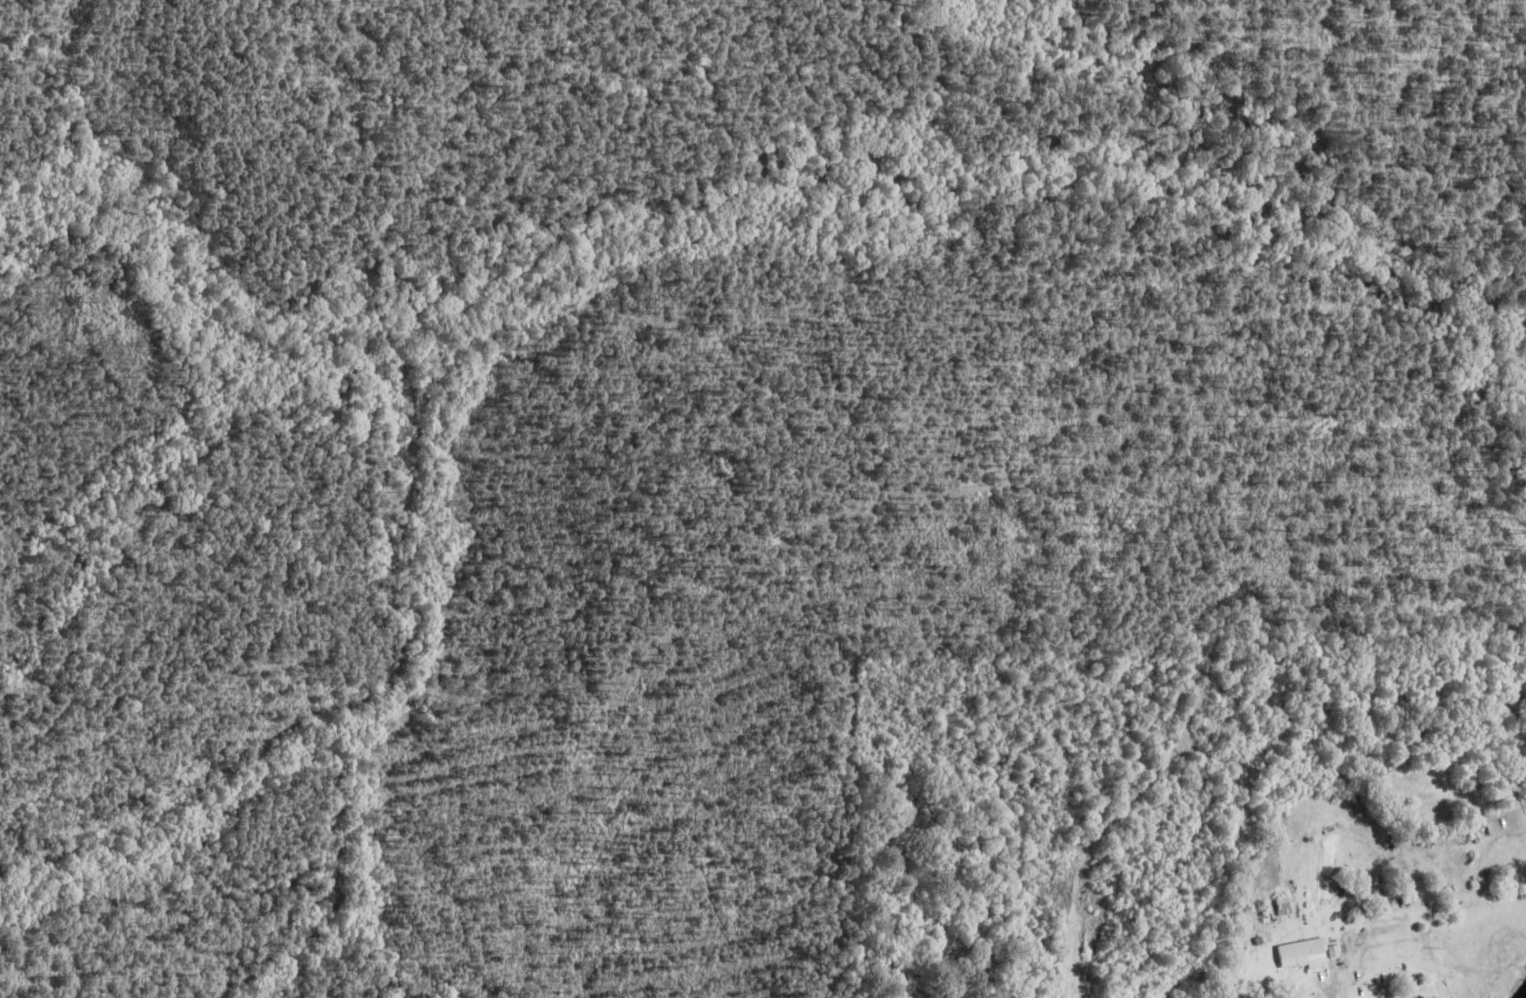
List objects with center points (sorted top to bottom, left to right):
building: (1285, 905)
building: (1300, 952)

